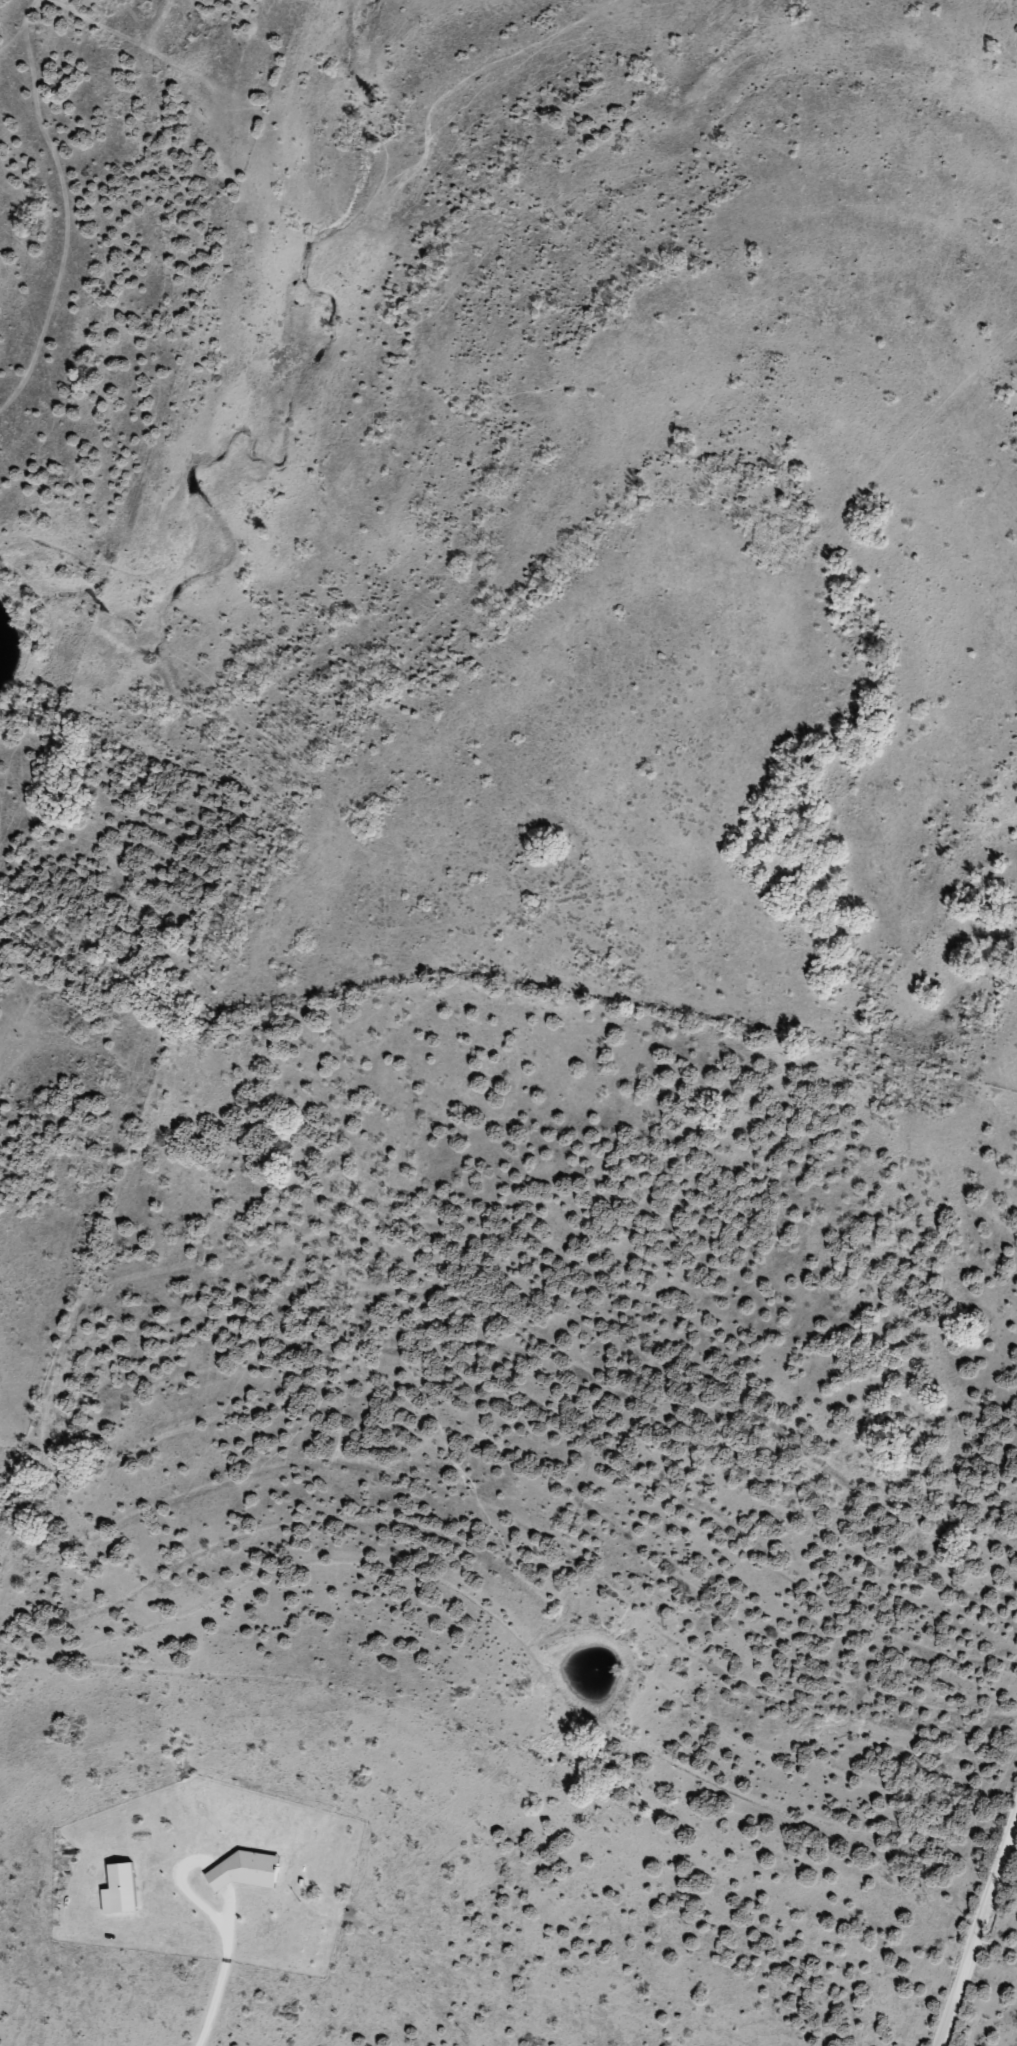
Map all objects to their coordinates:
building: (252, 1870)
building: (124, 1889)
road: (977, 1933)

